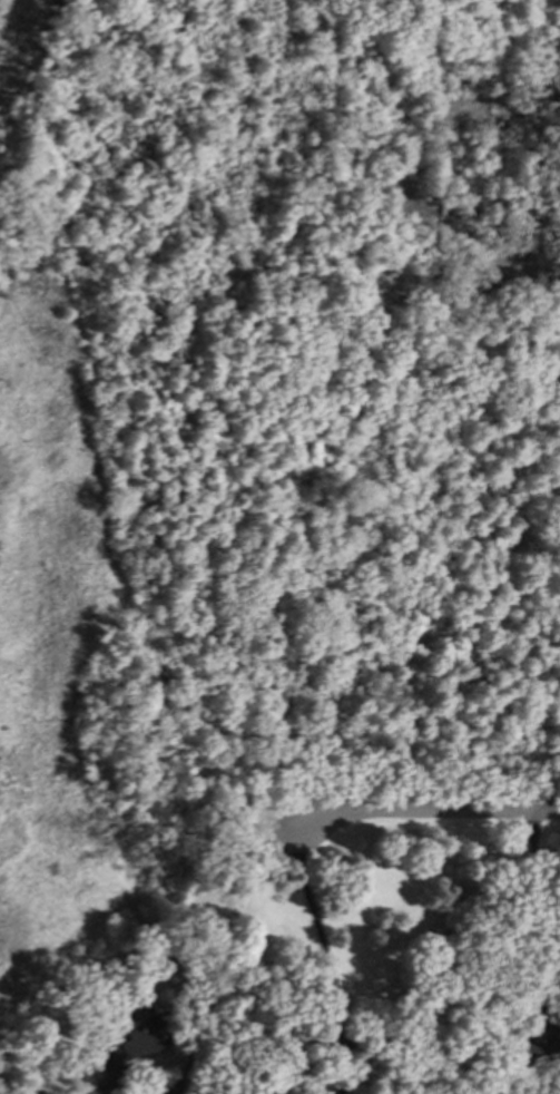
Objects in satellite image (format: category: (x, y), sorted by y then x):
road: (428, 808)
road: (533, 867)
building: (434, 940)
road: (550, 945)
road: (222, 949)
road: (529, 981)
road: (331, 983)
building: (122, 1047)
building: (529, 1055)
building: (312, 1083)

